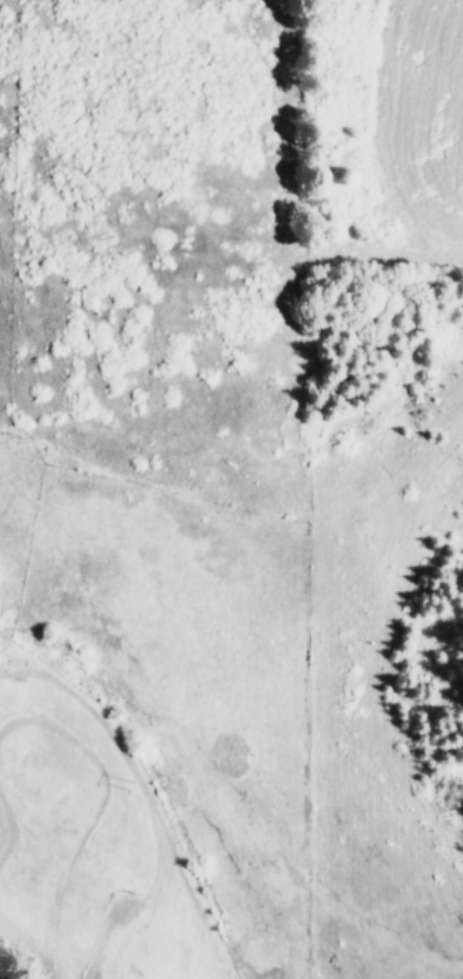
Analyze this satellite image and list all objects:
crop: (232, 487)

